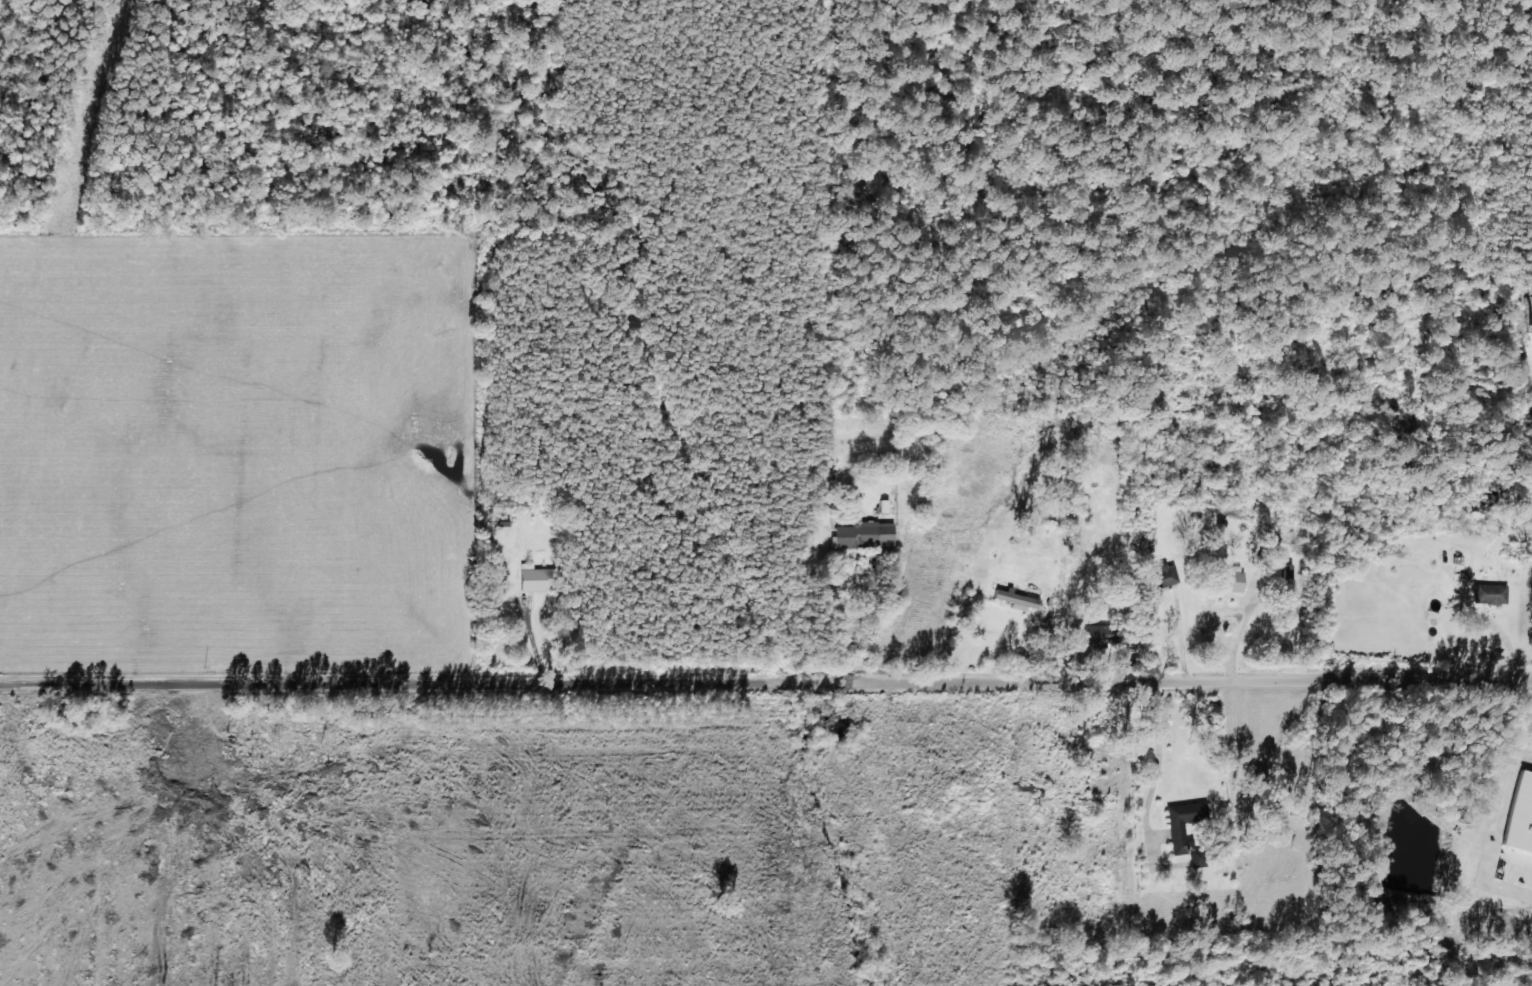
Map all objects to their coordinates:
building: (1527, 313)
building: (863, 535)
road: (549, 559)
building: (530, 577)
building: (1226, 580)
building: (1485, 592)
building: (1012, 598)
road: (766, 687)
building: (1172, 829)

